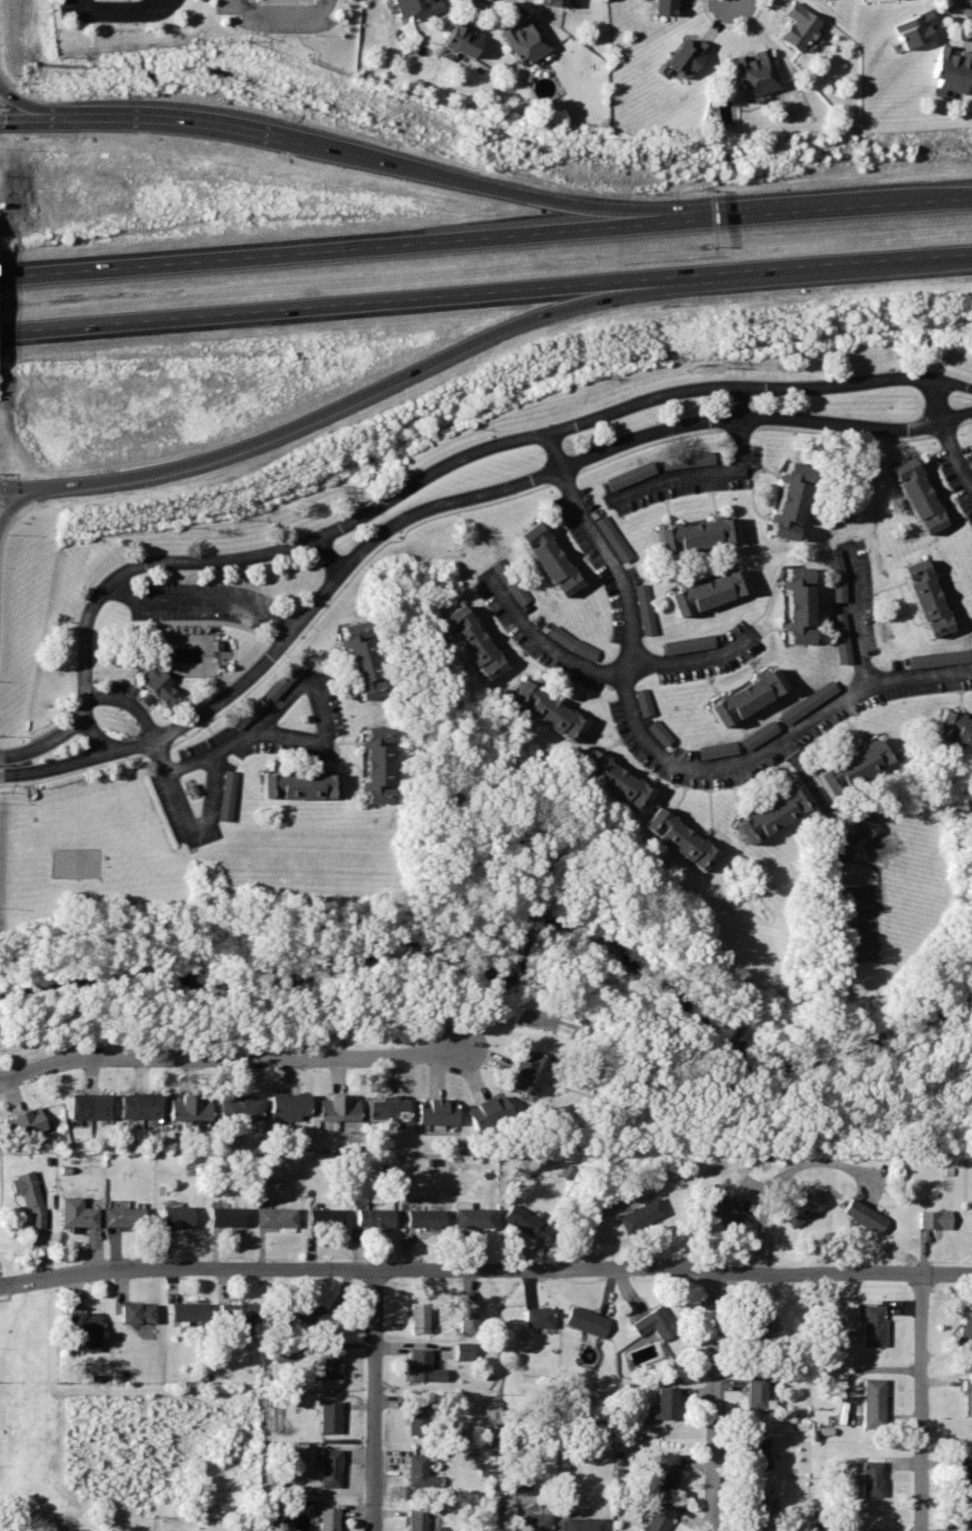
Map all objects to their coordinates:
building: (550, 2)
road: (239, 3)
building: (661, 6)
road: (279, 7)
building: (416, 7)
road: (116, 14)
building: (796, 26)
building: (914, 28)
building: (523, 39)
building: (459, 40)
building: (686, 57)
building: (952, 69)
building: (755, 73)
road: (12, 105)
road: (13, 119)
road: (156, 119)
road: (489, 180)
road: (486, 238)
road: (485, 291)
road: (327, 410)
road: (947, 435)
building: (688, 460)
road: (719, 472)
building: (630, 475)
road: (419, 477)
road: (14, 497)
building: (918, 498)
building: (789, 501)
road: (447, 505)
building: (697, 534)
building: (613, 538)
road: (329, 555)
building: (549, 560)
building: (837, 575)
building: (512, 585)
building: (707, 594)
building: (927, 598)
road: (201, 601)
building: (799, 607)
building: (643, 609)
road: (857, 614)
building: (841, 637)
building: (472, 642)
road: (543, 643)
building: (572, 643)
building: (687, 644)
building: (939, 658)
building: (365, 660)
road: (693, 660)
building: (285, 678)
building: (160, 685)
building: (746, 696)
building: (642, 701)
building: (808, 701)
road: (318, 708)
building: (544, 710)
building: (955, 727)
building: (659, 732)
building: (758, 734)
road: (96, 735)
road: (155, 742)
building: (971, 746)
road: (215, 749)
building: (716, 749)
road: (653, 753)
building: (375, 763)
building: (858, 763)
building: (617, 780)
building: (299, 785)
road: (209, 795)
building: (225, 795)
building: (772, 813)
building: (864, 822)
building: (680, 839)
road: (230, 1058)
building: (528, 1063)
building: (520, 1079)
road: (6, 1088)
road: (15, 1095)
building: (151, 1105)
building: (80, 1106)
building: (101, 1106)
building: (130, 1106)
building: (278, 1106)
building: (297, 1106)
building: (180, 1108)
building: (199, 1108)
building: (229, 1108)
building: (249, 1108)
building: (327, 1108)
building: (346, 1108)
building: (376, 1109)
building: (396, 1109)
building: (496, 1109)
building: (426, 1111)
building: (446, 1112)
building: (479, 1116)
building: (33, 1121)
building: (15, 1127)
road: (787, 1172)
road: (788, 1184)
road: (751, 1191)
building: (28, 1197)
building: (47, 1201)
building: (802, 1208)
building: (75, 1213)
building: (639, 1215)
building: (725, 1215)
building: (862, 1215)
building: (471, 1216)
building: (122, 1217)
building: (177, 1217)
building: (224, 1217)
building: (274, 1217)
building: (373, 1217)
building: (324, 1218)
building: (423, 1218)
building: (931, 1219)
building: (971, 1220)
building: (524, 1222)
road: (485, 1269)
road: (4, 1297)
building: (135, 1310)
building: (186, 1310)
building: (235, 1312)
building: (467, 1314)
building: (314, 1315)
building: (536, 1315)
building: (419, 1316)
building: (584, 1320)
building: (755, 1322)
building: (651, 1323)
building: (869, 1326)
building: (84, 1327)
building: (964, 1333)
building: (464, 1351)
building: (328, 1364)
building: (423, 1365)
building: (755, 1393)
building: (966, 1397)
road: (375, 1400)
building: (664, 1401)
road: (714, 1401)
road: (919, 1402)
building: (869, 1404)
building: (329, 1415)
building: (418, 1416)
building: (755, 1450)
building: (330, 1466)
building: (665, 1468)
building: (420, 1470)
building: (964, 1478)
building: (868, 1479)
building: (521, 1484)
building: (754, 1507)
building: (656, 1515)
building: (329, 1518)
building: (416, 1519)
road: (35, 1521)
building: (536, 1521)
building: (579, 1523)
building: (863, 1529)
building: (964, 1529)

